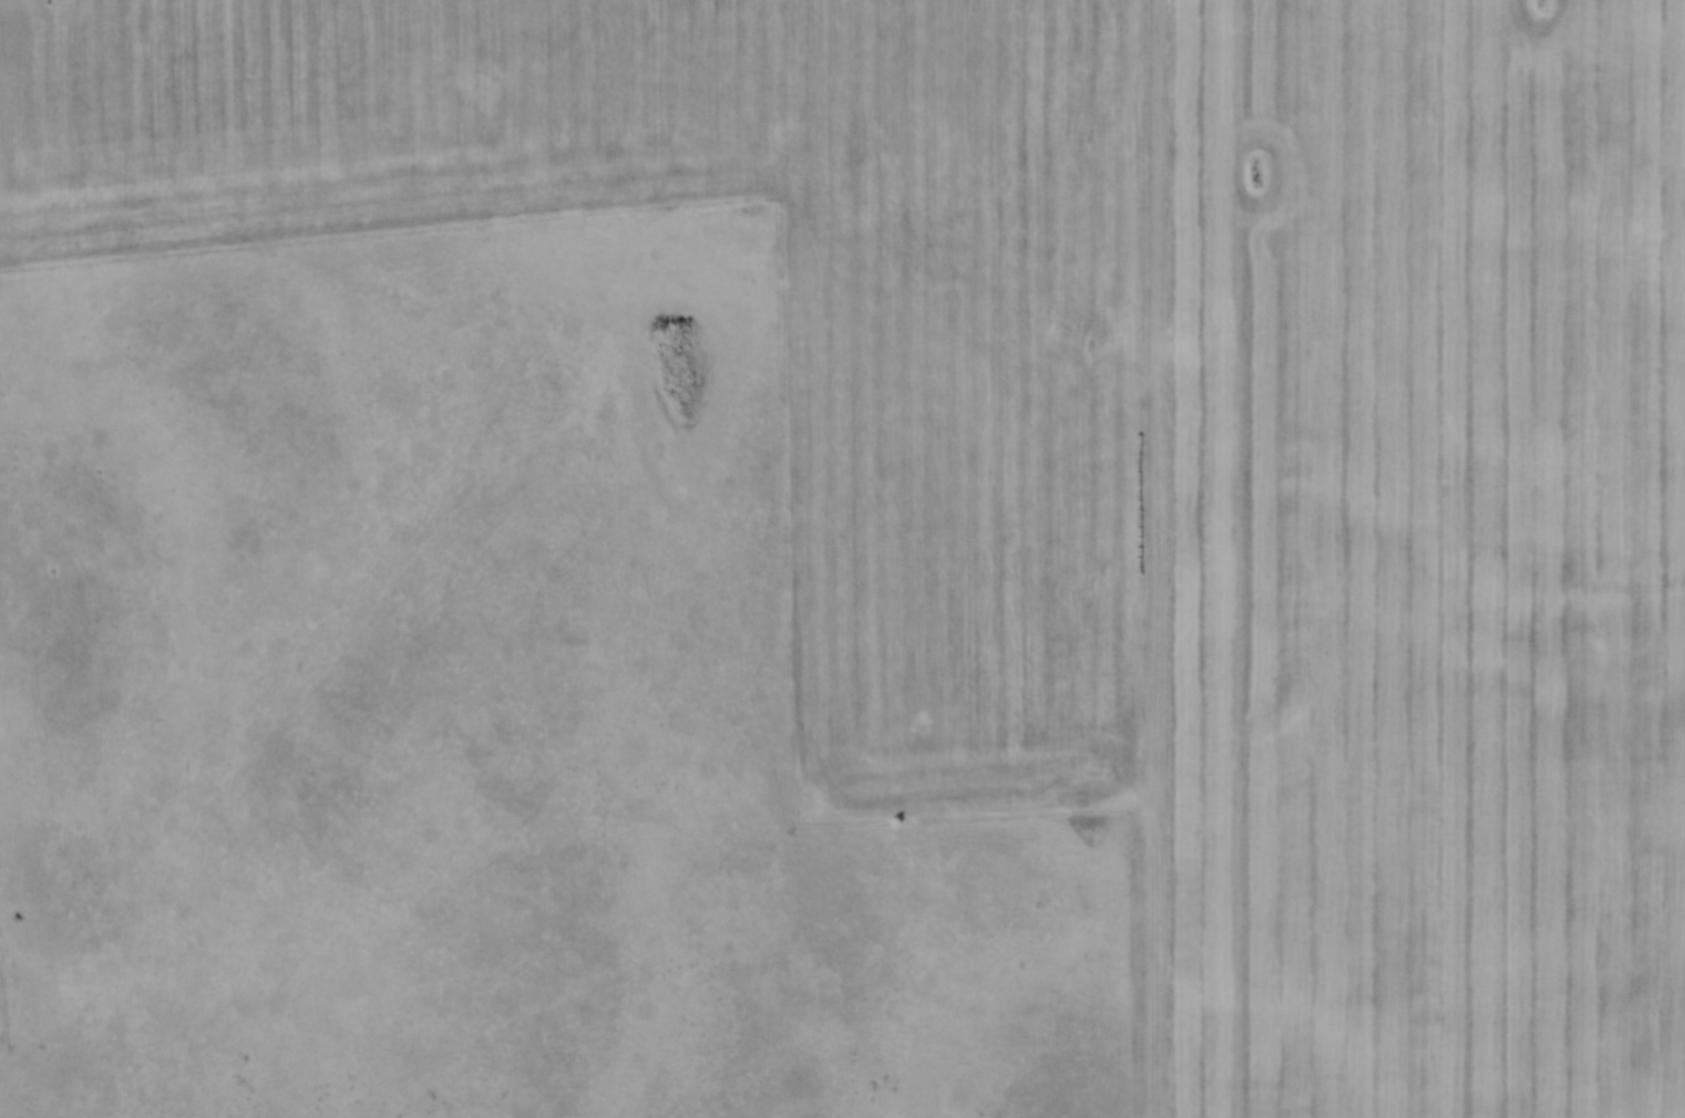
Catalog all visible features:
road: (1154, 558)

